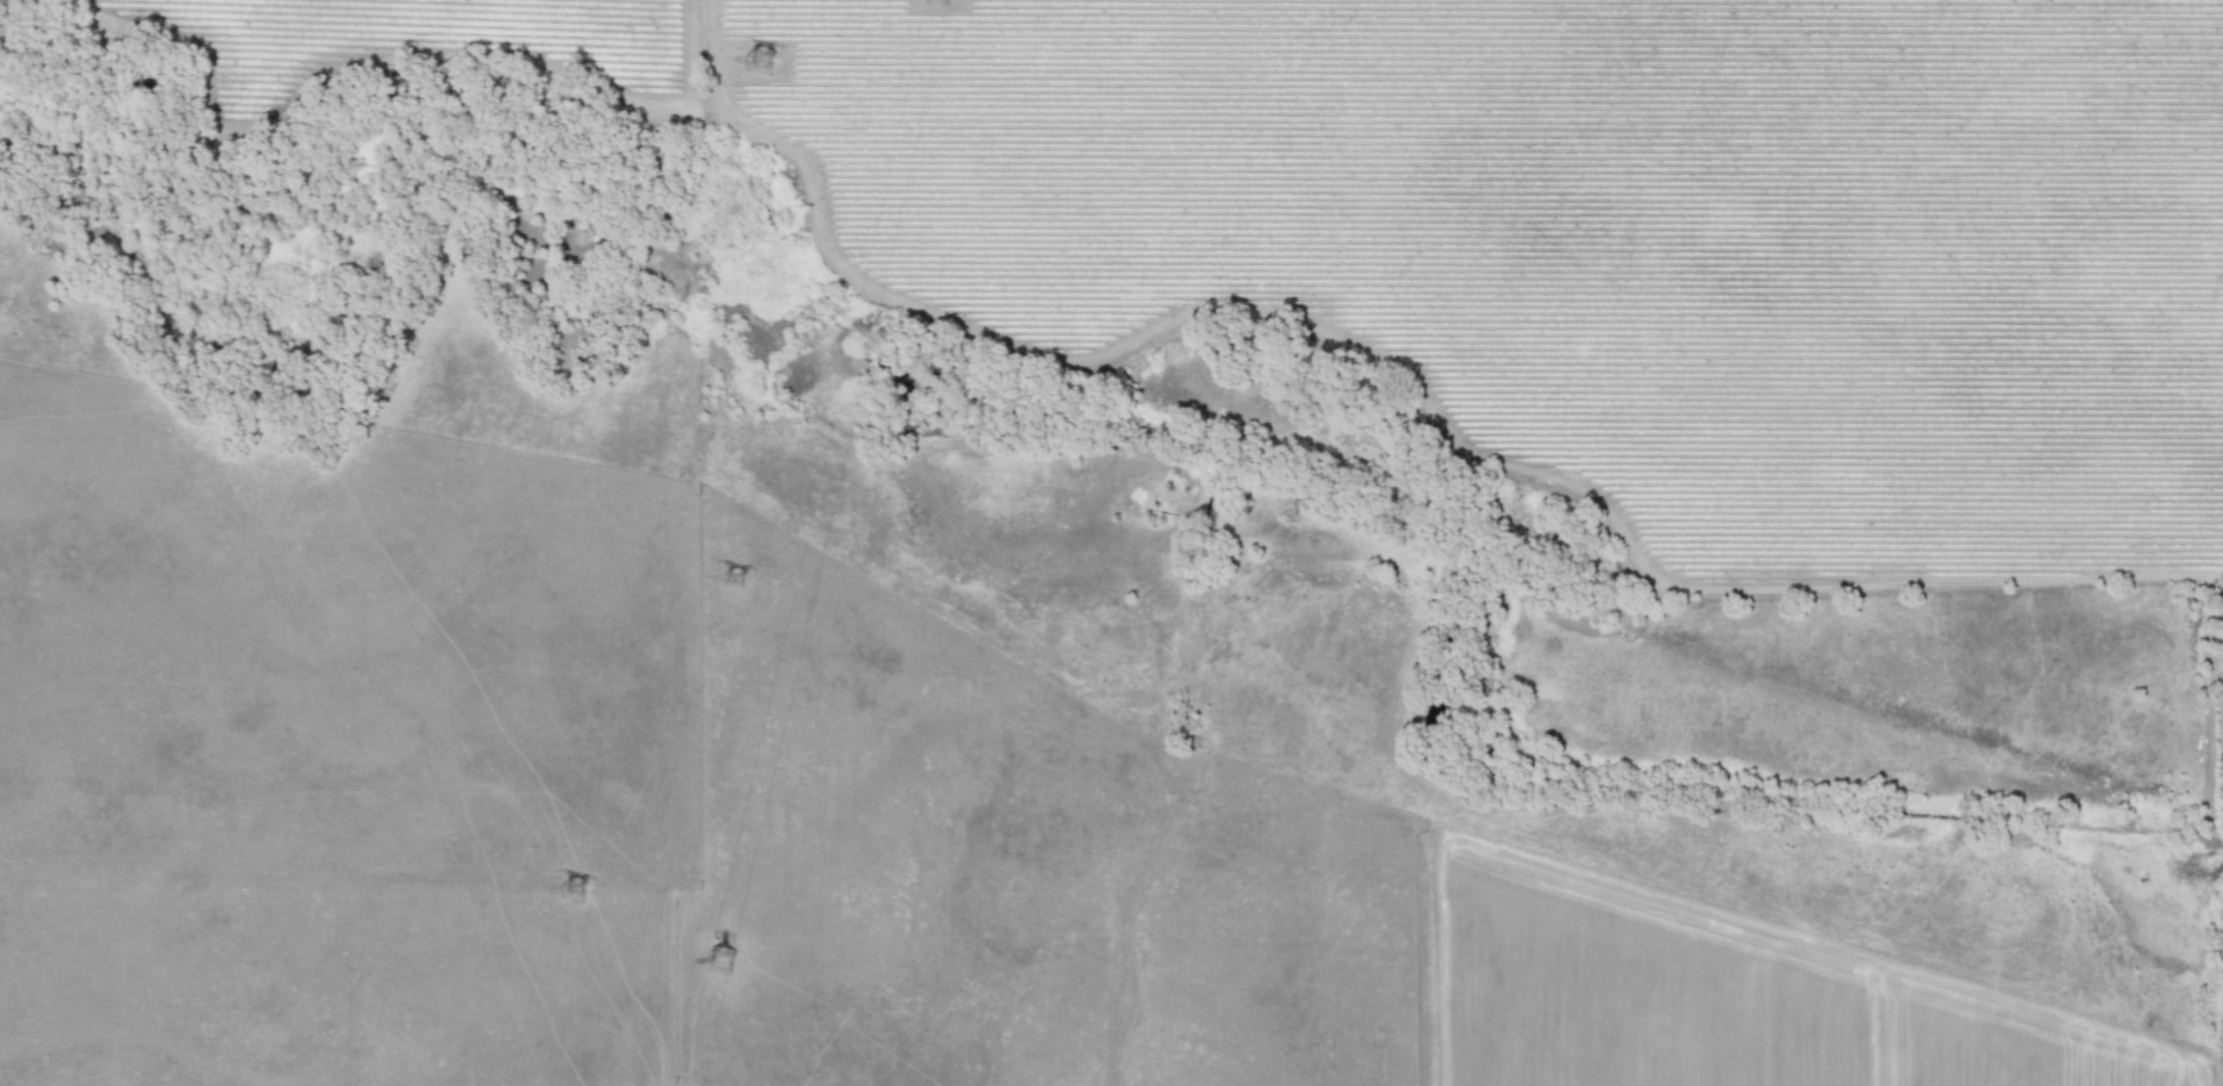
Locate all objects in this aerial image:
power tower: (757, 60)
crop: (1878, 540)
power tower: (725, 576)
power tower: (574, 885)
power tower: (726, 960)

